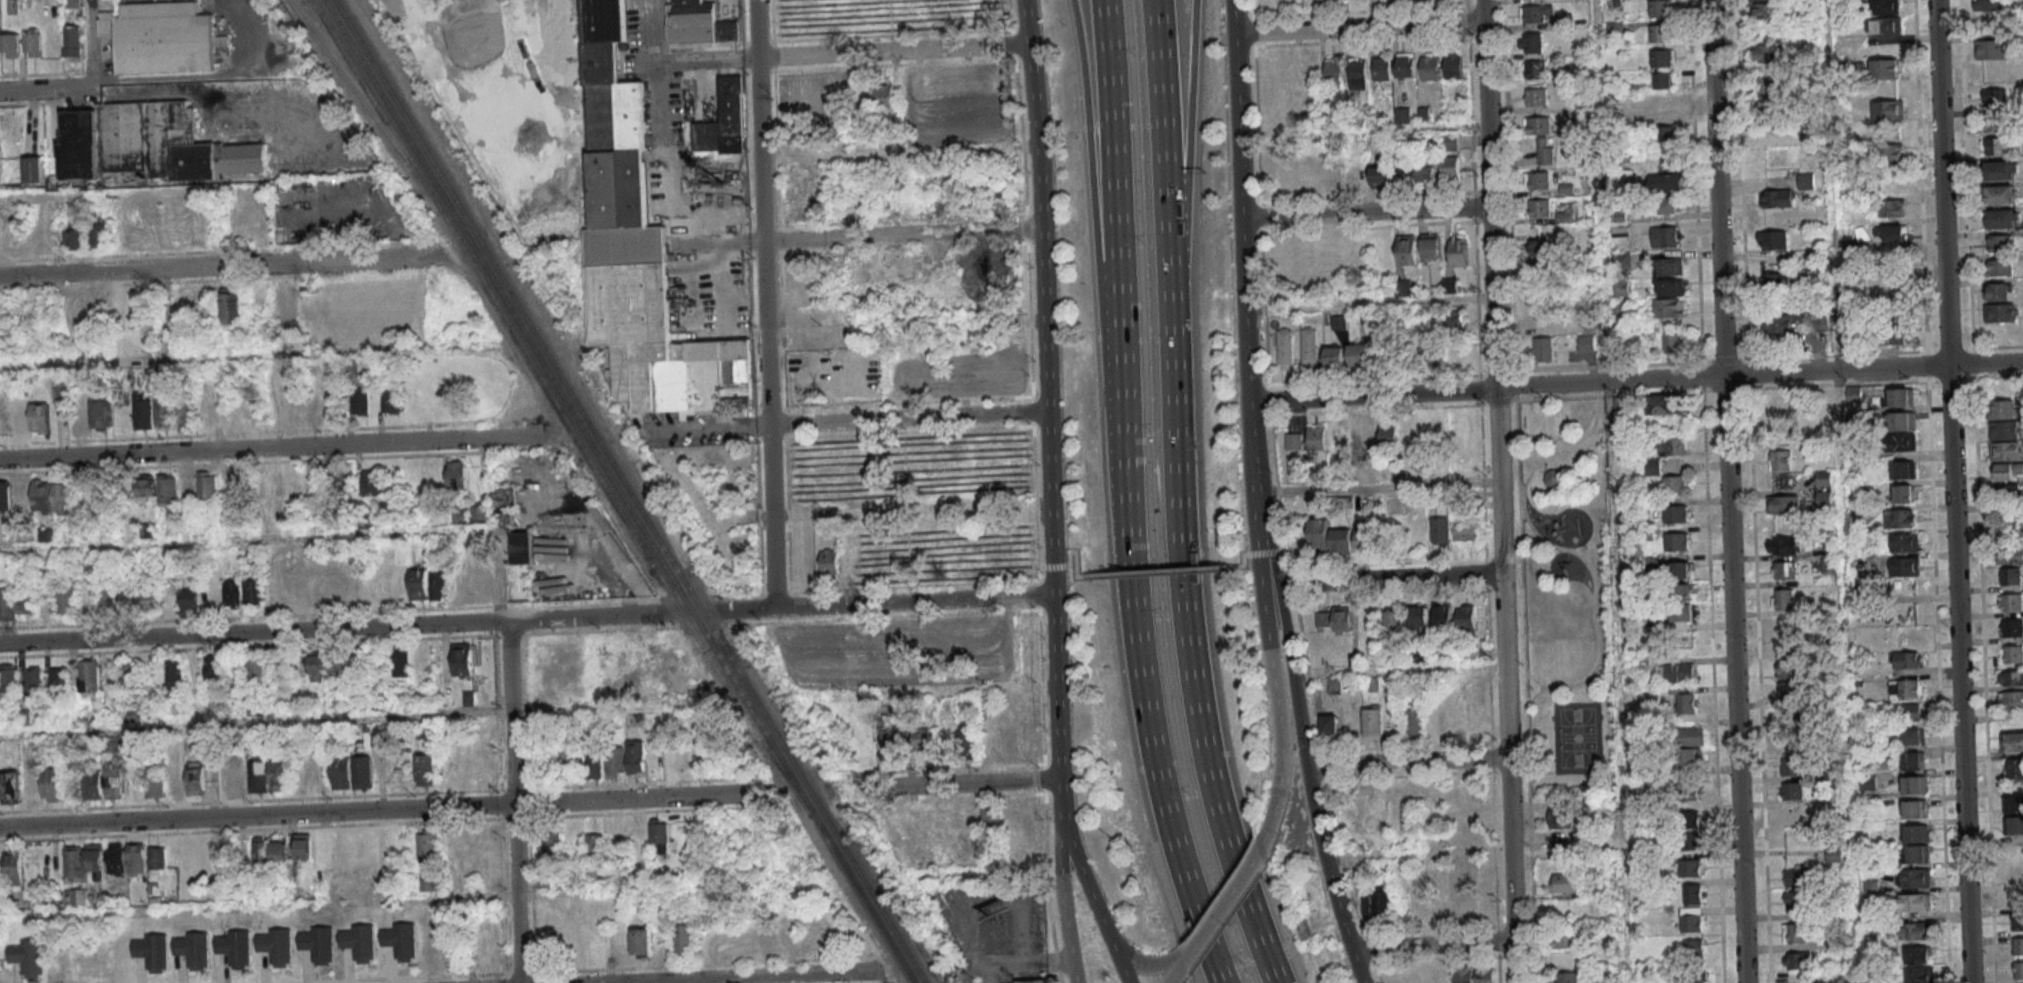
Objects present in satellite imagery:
building: (1989, 4)
building: (1884, 6)
building: (1659, 8)
building: (1765, 10)
building: (1534, 13)
building: (691, 21)
building: (1886, 25)
road: (1359, 28)
building: (1659, 33)
building: (160, 37)
building: (31, 41)
building: (71, 41)
building: (1531, 42)
building: (9, 45)
building: (1992, 48)
road: (892, 51)
building: (1768, 53)
building: (1662, 58)
road: (669, 60)
building: (1405, 65)
building: (1453, 65)
building: (1430, 66)
building: (1382, 68)
building: (1885, 68)
building: (1535, 69)
building: (1333, 70)
building: (1358, 73)
road: (200, 75)
building: (1662, 80)
road: (47, 88)
building: (1769, 88)
building: (884, 95)
building: (1536, 96)
building: (1994, 97)
railway: (363, 103)
building: (1664, 108)
building: (1888, 110)
road: (1828, 112)
building: (1769, 115)
building: (723, 121)
building: (1991, 121)
road: (1363, 131)
building: (1540, 137)
building: (1666, 137)
road: (1091, 140)
building: (1449, 142)
building: (148, 145)
building: (1997, 145)
road: (1162, 148)
road: (1182, 149)
building: (1890, 152)
building: (0, 164)
building: (1450, 167)
building: (33, 169)
building: (2002, 169)
building: (1404, 170)
building: (1425, 173)
building: (1380, 175)
building: (1354, 177)
building: (1537, 180)
building: (1806, 181)
building: (1666, 183)
building: (2000, 194)
building: (1778, 198)
building: (1670, 205)
road: (1241, 208)
building: (1540, 208)
building: (1891, 208)
road: (1366, 213)
building: (1618, 217)
building: (1999, 218)
building: (1894, 234)
building: (75, 235)
building: (97, 235)
road: (902, 235)
building: (1665, 236)
building: (1773, 240)
building: (1999, 243)
building: (643, 245)
building: (1431, 246)
building: (1537, 248)
building: (1406, 250)
building: (1458, 250)
building: (1334, 253)
road: (223, 263)
building: (1669, 266)
building: (1999, 267)
building: (1536, 270)
building: (1777, 281)
building: (1403, 287)
building: (1669, 287)
building: (1997, 291)
building: (1890, 298)
building: (291, 303)
road: (764, 303)
road: (1113, 303)
building: (231, 305)
road: (1370, 306)
building: (1668, 308)
building: (1999, 312)
building: (1544, 317)
building: (1456, 319)
building: (1778, 323)
building: (1890, 334)
building: (1673, 342)
building: (1586, 343)
building: (1309, 345)
building: (1285, 346)
building: (1543, 349)
building: (1431, 353)
road: (205, 354)
building: (1334, 356)
building: (1361, 356)
road: (1636, 380)
road: (1047, 390)
building: (1854, 392)
building: (1898, 397)
building: (390, 399)
building: (359, 401)
building: (1663, 404)
building: (163, 409)
building: (2004, 409)
building: (144, 410)
railway: (561, 412)
building: (185, 414)
building: (102, 416)
building: (39, 417)
building: (1901, 420)
road: (845, 421)
building: (1389, 434)
building: (1364, 435)
building: (1316, 438)
building: (1340, 441)
building: (1294, 442)
building: (1903, 442)
road: (280, 446)
building: (1673, 446)
road: (1843, 458)
building: (1779, 460)
building: (1651, 466)
building: (1855, 467)
building: (1903, 469)
building: (2006, 471)
road: (1255, 474)
building: (456, 475)
building: (1823, 478)
building: (338, 479)
building: (369, 482)
building: (1675, 484)
building: (207, 486)
road: (1378, 486)
building: (147, 487)
building: (168, 489)
railway: (623, 491)
road: (1499, 491)
road: (1610, 491)
road: (1727, 491)
road: (1952, 491)
railway: (631, 492)
building: (2008, 492)
building: (1903, 493)
building: (5, 495)
building: (42, 496)
building: (504, 497)
building: (64, 498)
building: (1823, 499)
building: (1783, 504)
building: (479, 511)
building: (1676, 514)
building: (460, 516)
building: (1900, 518)
building: (2007, 523)
building: (1440, 530)
building: (1466, 530)
road: (294, 535)
building: (1328, 537)
building: (1363, 538)
building: (1676, 541)
building: (1905, 542)
building: (1783, 544)
road: (1069, 553)
road: (1248, 553)
building: (2011, 556)
building: (829, 563)
building: (853, 563)
building: (1828, 565)
building: (1905, 566)
building: (519, 567)
road: (1159, 570)
building: (1680, 570)
building: (1784, 570)
building: (2010, 576)
road: (1385, 581)
building: (481, 582)
building: (418, 583)
building: (439, 584)
road: (1268, 589)
building: (253, 590)
building: (233, 591)
building: (1681, 592)
building: (149, 596)
building: (107, 597)
building: (190, 598)
building: (66, 599)
building: (128, 599)
building: (1782, 599)
park: (1567, 600)
building: (2011, 602)
building: (7, 603)
building: (25, 604)
road: (781, 607)
building: (1681, 612)
building: (1443, 615)
building: (1419, 616)
building: (1466, 616)
building: (1342, 618)
building: (1322, 620)
building: (1395, 620)
building: (1789, 627)
building: (2012, 628)
road: (255, 633)
road: (1187, 646)
building: (2011, 654)
building: (461, 659)
building: (1907, 659)
building: (400, 661)
building: (325, 664)
building: (214, 668)
building: (1789, 669)
building: (255, 670)
road: (1395, 670)
building: (1677, 672)
building: (174, 673)
building: (131, 674)
building: (8, 678)
building: (90, 678)
building: (2011, 678)
building: (32, 682)
building: (58, 683)
building: (1905, 688)
building: (1793, 690)
building: (1684, 699)
building: (2010, 700)
road: (1292, 706)
building: (844, 711)
building: (1906, 711)
building: (1791, 718)
building: (1477, 720)
building: (1414, 721)
building: (1373, 722)
road: (256, 724)
building: (1330, 724)
building: (425, 730)
building: (1914, 736)
building: (921, 738)
building: (966, 740)
building: (987, 740)
building: (1028, 740)
building: (890, 742)
building: (1008, 742)
building: (2013, 742)
building: (1792, 743)
building: (861, 746)
building: (1690, 747)
road: (1277, 751)
building: (635, 756)
building: (1913, 760)
building: (568, 761)
building: (614, 762)
road: (1407, 762)
building: (594, 763)
building: (1791, 766)
building: (2014, 768)
building: (423, 769)
building: (350, 770)
building: (195, 778)
building: (259, 778)
building: (1867, 782)
building: (94, 783)
building: (50, 784)
building: (155, 784)
building: (1914, 784)
building: (113, 785)
road: (948, 785)
building: (10, 787)
building: (1791, 790)
building: (1688, 791)
road: (648, 796)
road: (1161, 798)
road: (514, 801)
building: (1376, 804)
road: (1853, 806)
building: (1915, 808)
building: (2014, 813)
building: (988, 814)
building: (1031, 814)
building: (1795, 815)
building: (1011, 817)
road: (257, 818)
building: (967, 819)
building: (1560, 819)
building: (1688, 819)
building: (898, 822)
building: (1916, 833)
building: (659, 834)
building: (616, 837)
building: (1688, 840)
building: (593, 845)
building: (303, 846)
building: (550, 846)
building: (426, 848)
building: (270, 850)
road: (1417, 851)
building: (1915, 854)
building: (1833, 855)
building: (157, 859)
building: (84, 861)
road: (1078, 861)
building: (13, 866)
building: (1690, 867)
road: (1329, 876)
building: (1797, 876)
building: (1913, 878)
building: (430, 882)
road: (1062, 882)
building: (1565, 882)
building: (1692, 893)
building: (2015, 897)
road: (345, 900)
building: (1374, 901)
building: (1797, 902)
building: (1914, 902)
building: (1462, 903)
building: (1420, 907)
road: (1220, 911)
building: (1691, 919)
building: (2017, 920)
building: (1913, 930)
building: (1794, 933)
building: (1564, 939)
building: (682, 940)
building: (400, 941)
building: (641, 941)
building: (358, 942)
building: (317, 944)
road: (1432, 945)
building: (275, 946)
building: (2018, 946)
building: (234, 948)
building: (192, 949)
building: (1694, 949)
building: (152, 951)
road: (1187, 951)
building: (1917, 954)
building: (28, 957)
road: (1116, 961)
building: (1798, 961)
road: (1011, 963)
road: (1140, 963)
building: (79, 967)
building: (2018, 970)
road: (1174, 974)
building: (1444, 974)
building: (1465, 974)
building: (1424, 975)
building: (1485, 975)
building: (1918, 975)
road: (761, 977)
building: (1566, 977)
building: (1696, 977)
building: (1798, 978)
building: (1026, 981)

